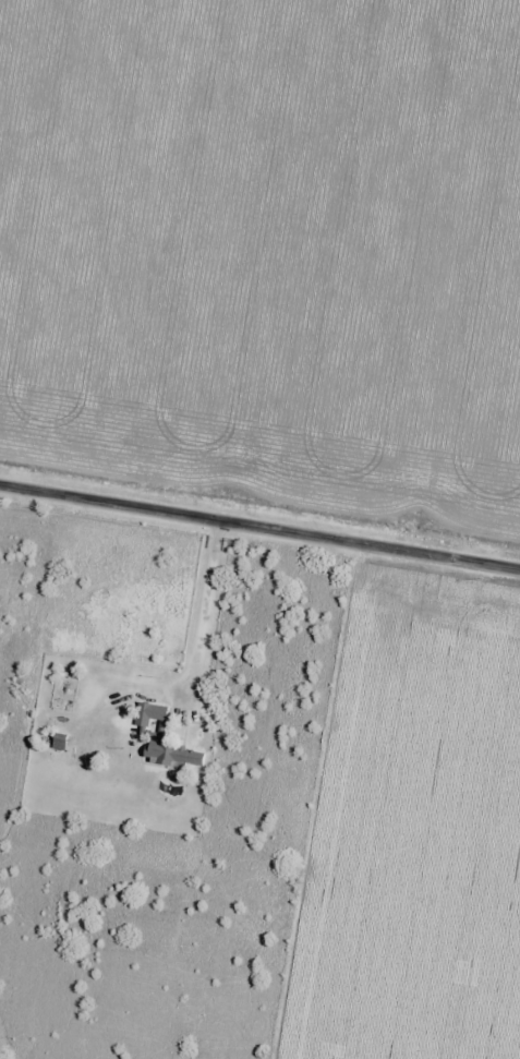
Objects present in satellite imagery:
road: (259, 527)
building: (149, 713)
building: (59, 742)
building: (172, 755)

